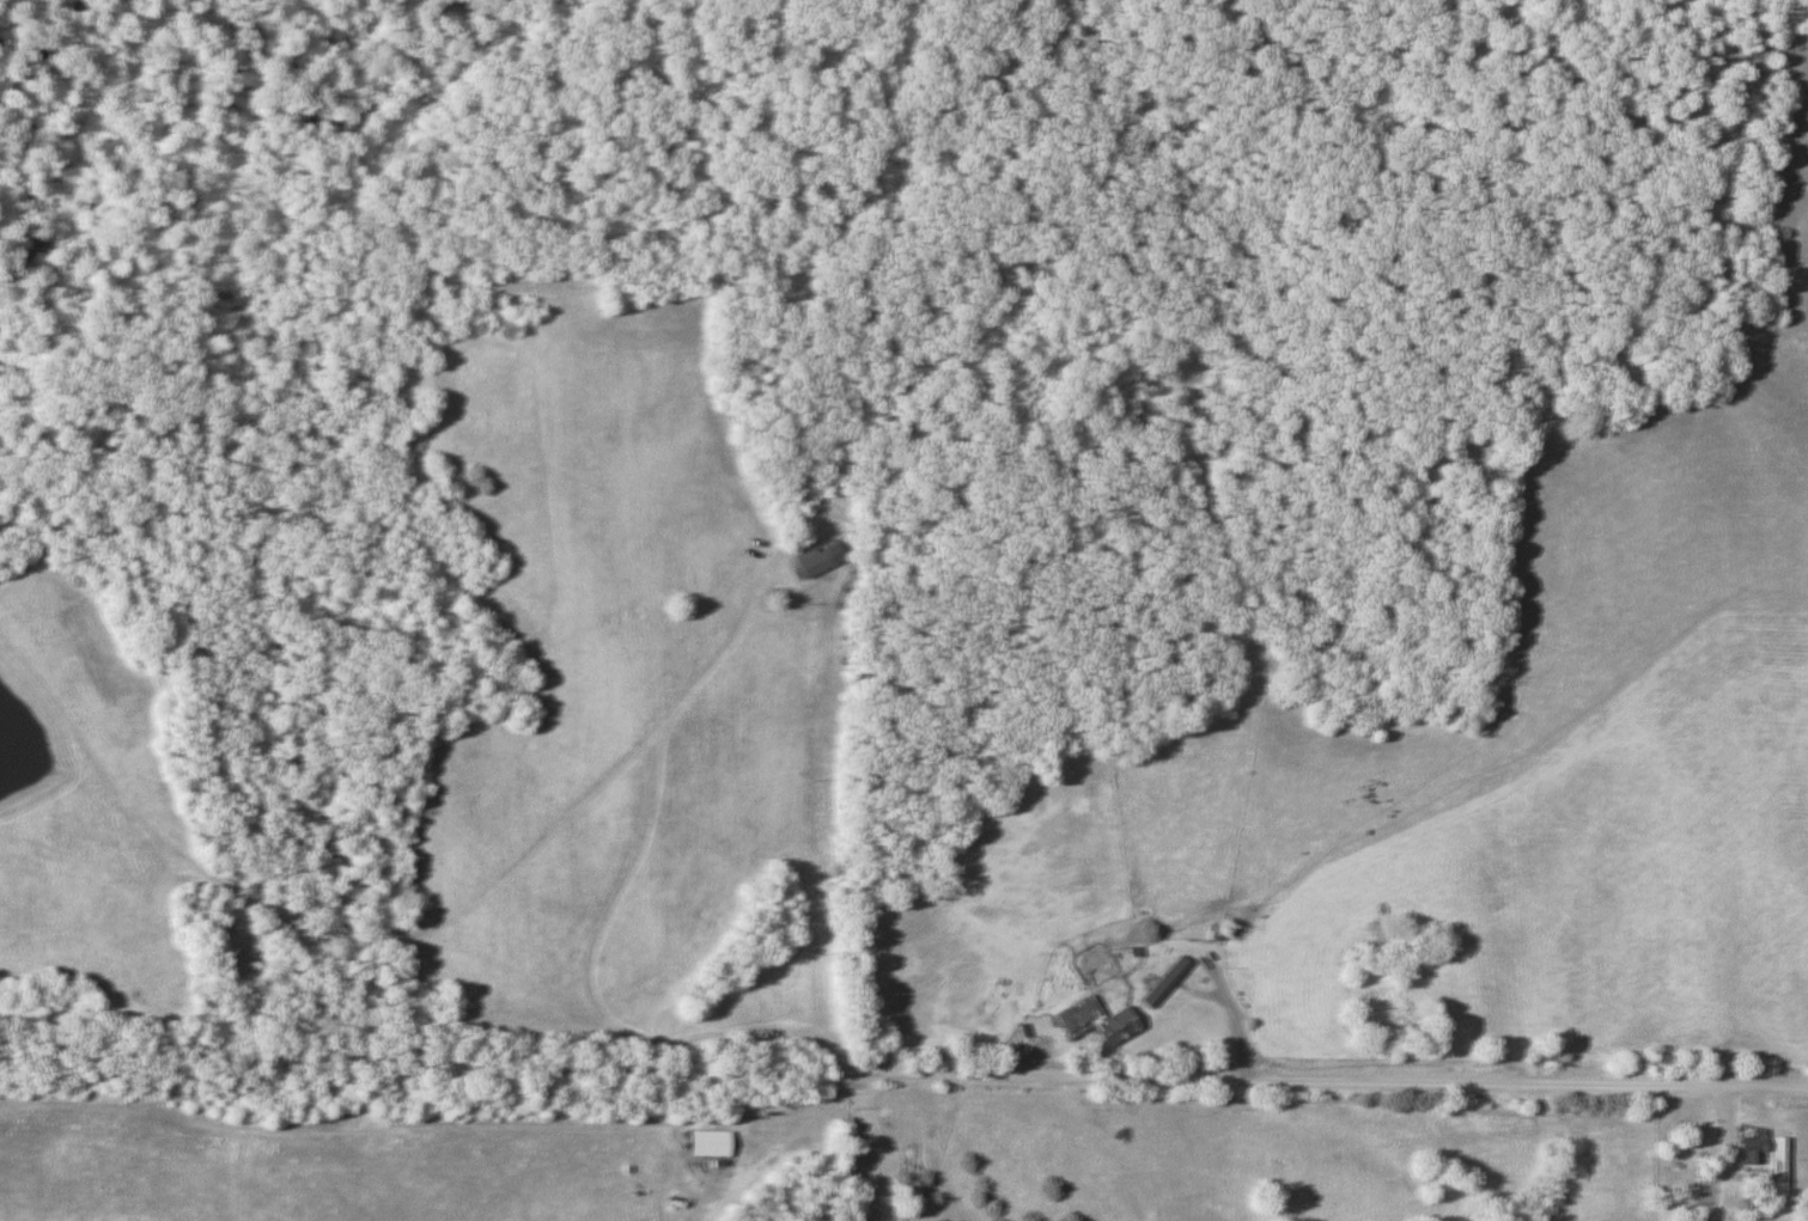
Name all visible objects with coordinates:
building: (815, 560)
building: (1161, 983)
building: (1092, 1022)
road: (939, 1072)
road: (1422, 1080)
building: (705, 1143)
building: (1748, 1148)
building: (1776, 1167)
building: (1704, 1220)

